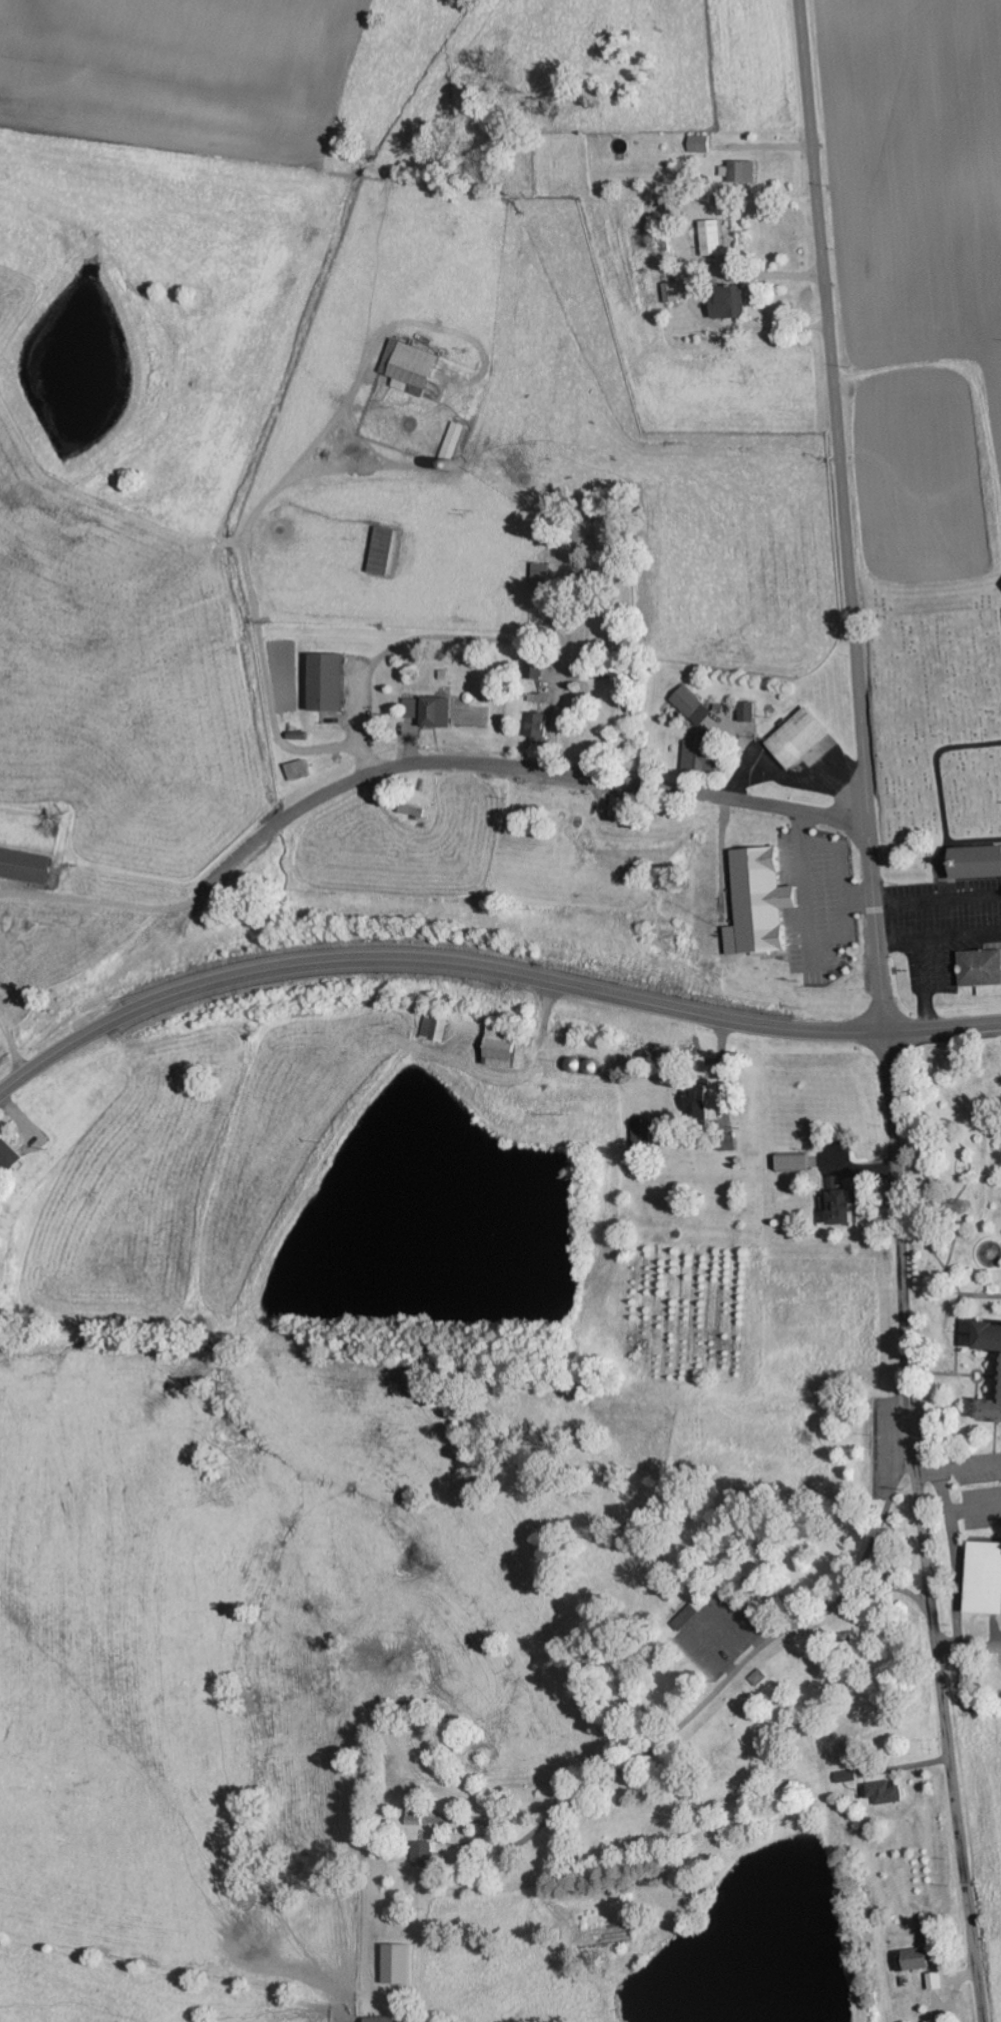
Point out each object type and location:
building: (701, 144)
building: (743, 172)
building: (712, 239)
building: (672, 293)
building: (730, 304)
building: (411, 368)
road: (846, 515)
building: (385, 551)
building: (541, 576)
building: (535, 668)
road: (321, 674)
building: (327, 682)
building: (694, 705)
park: (936, 708)
building: (431, 711)
building: (749, 712)
building: (538, 727)
building: (800, 738)
building: (700, 757)
road: (527, 767)
building: (298, 770)
building: (622, 808)
building: (976, 862)
building: (26, 866)
building: (761, 902)
building: (980, 968)
road: (487, 974)
building: (436, 1029)
building: (502, 1048)
building: (698, 1104)
building: (642, 1133)
building: (729, 1142)
building: (10, 1154)
building: (793, 1163)
building: (841, 1208)
building: (989, 1337)
building: (989, 1412)
road: (971, 1467)
road: (921, 1528)
road: (955, 1561)
building: (984, 1579)
road: (895, 1585)
building: (683, 1615)
road: (968, 1649)
road: (774, 1650)
building: (760, 1678)
building: (848, 1777)
building: (885, 1793)
road: (530, 1811)
building: (424, 1855)
building: (914, 1960)
building: (399, 1965)
building: (936, 1981)
building: (384, 2019)

